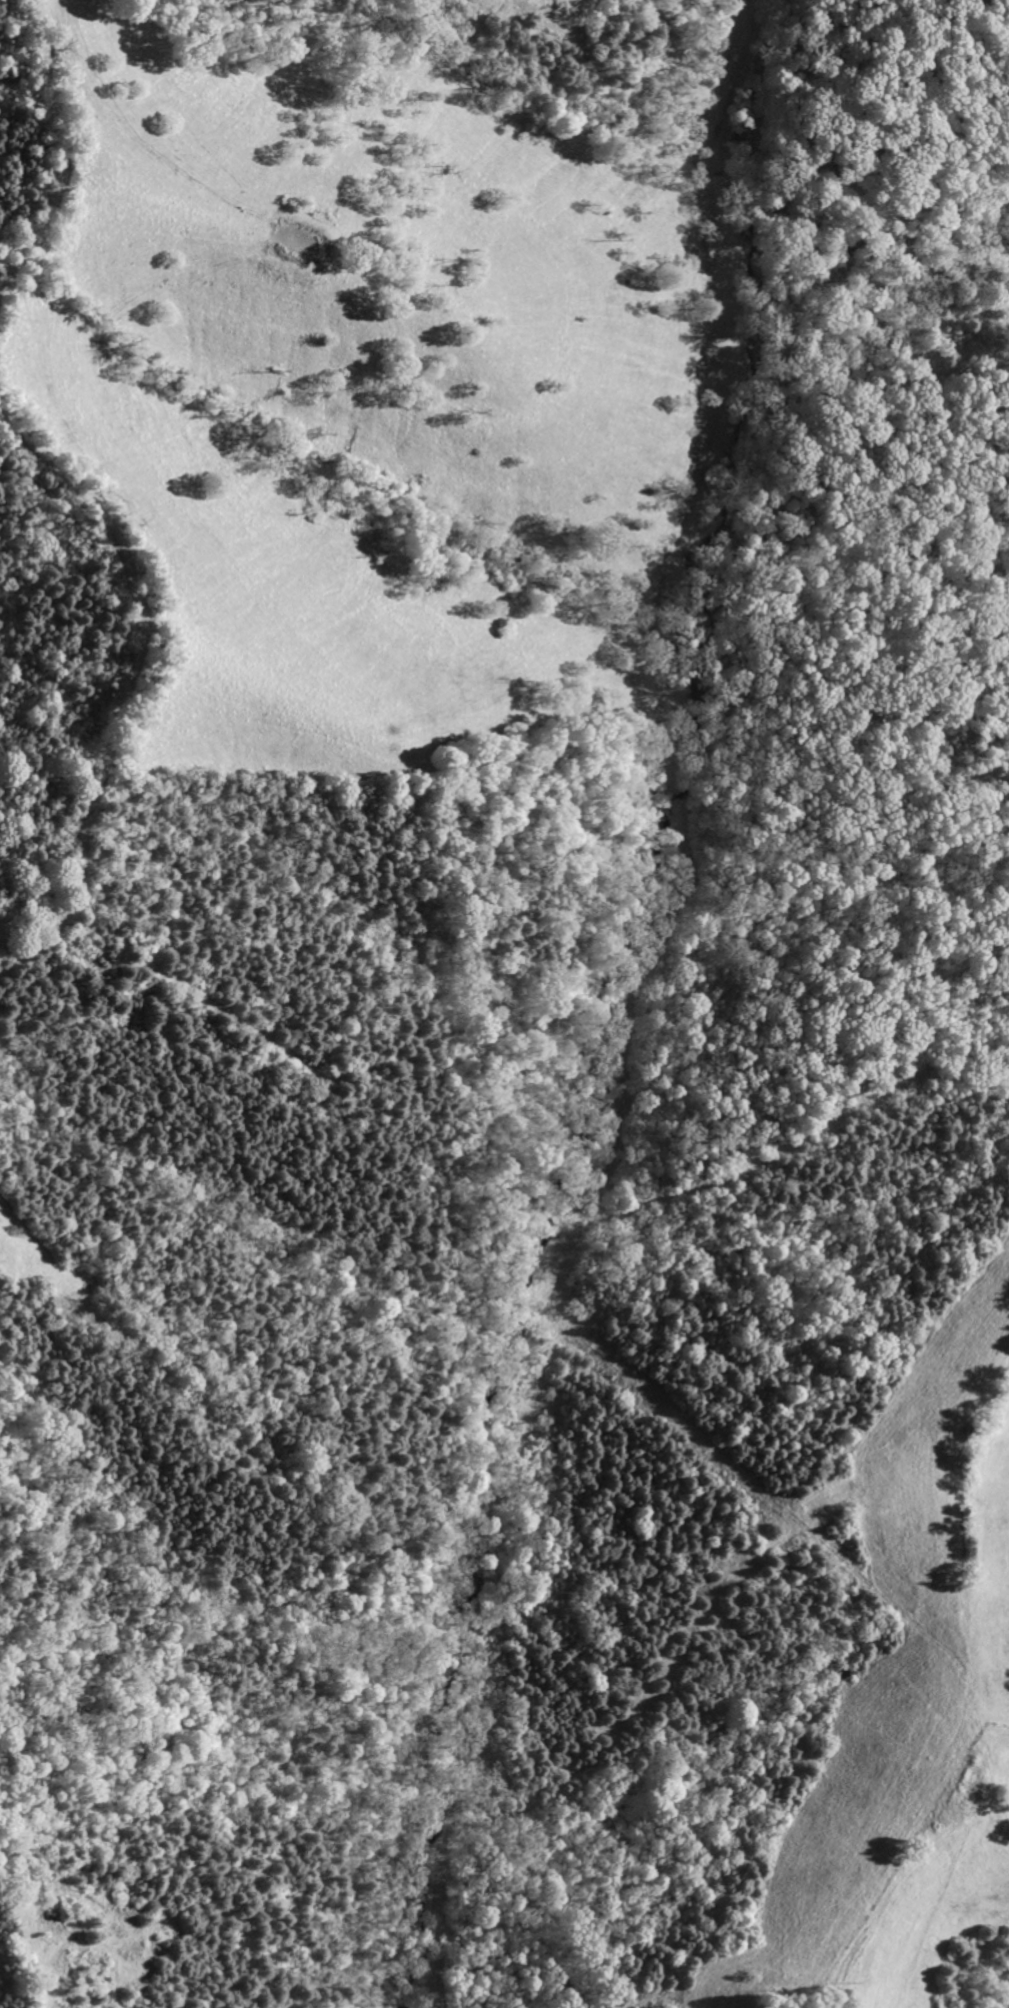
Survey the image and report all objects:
road: (81, 480)

